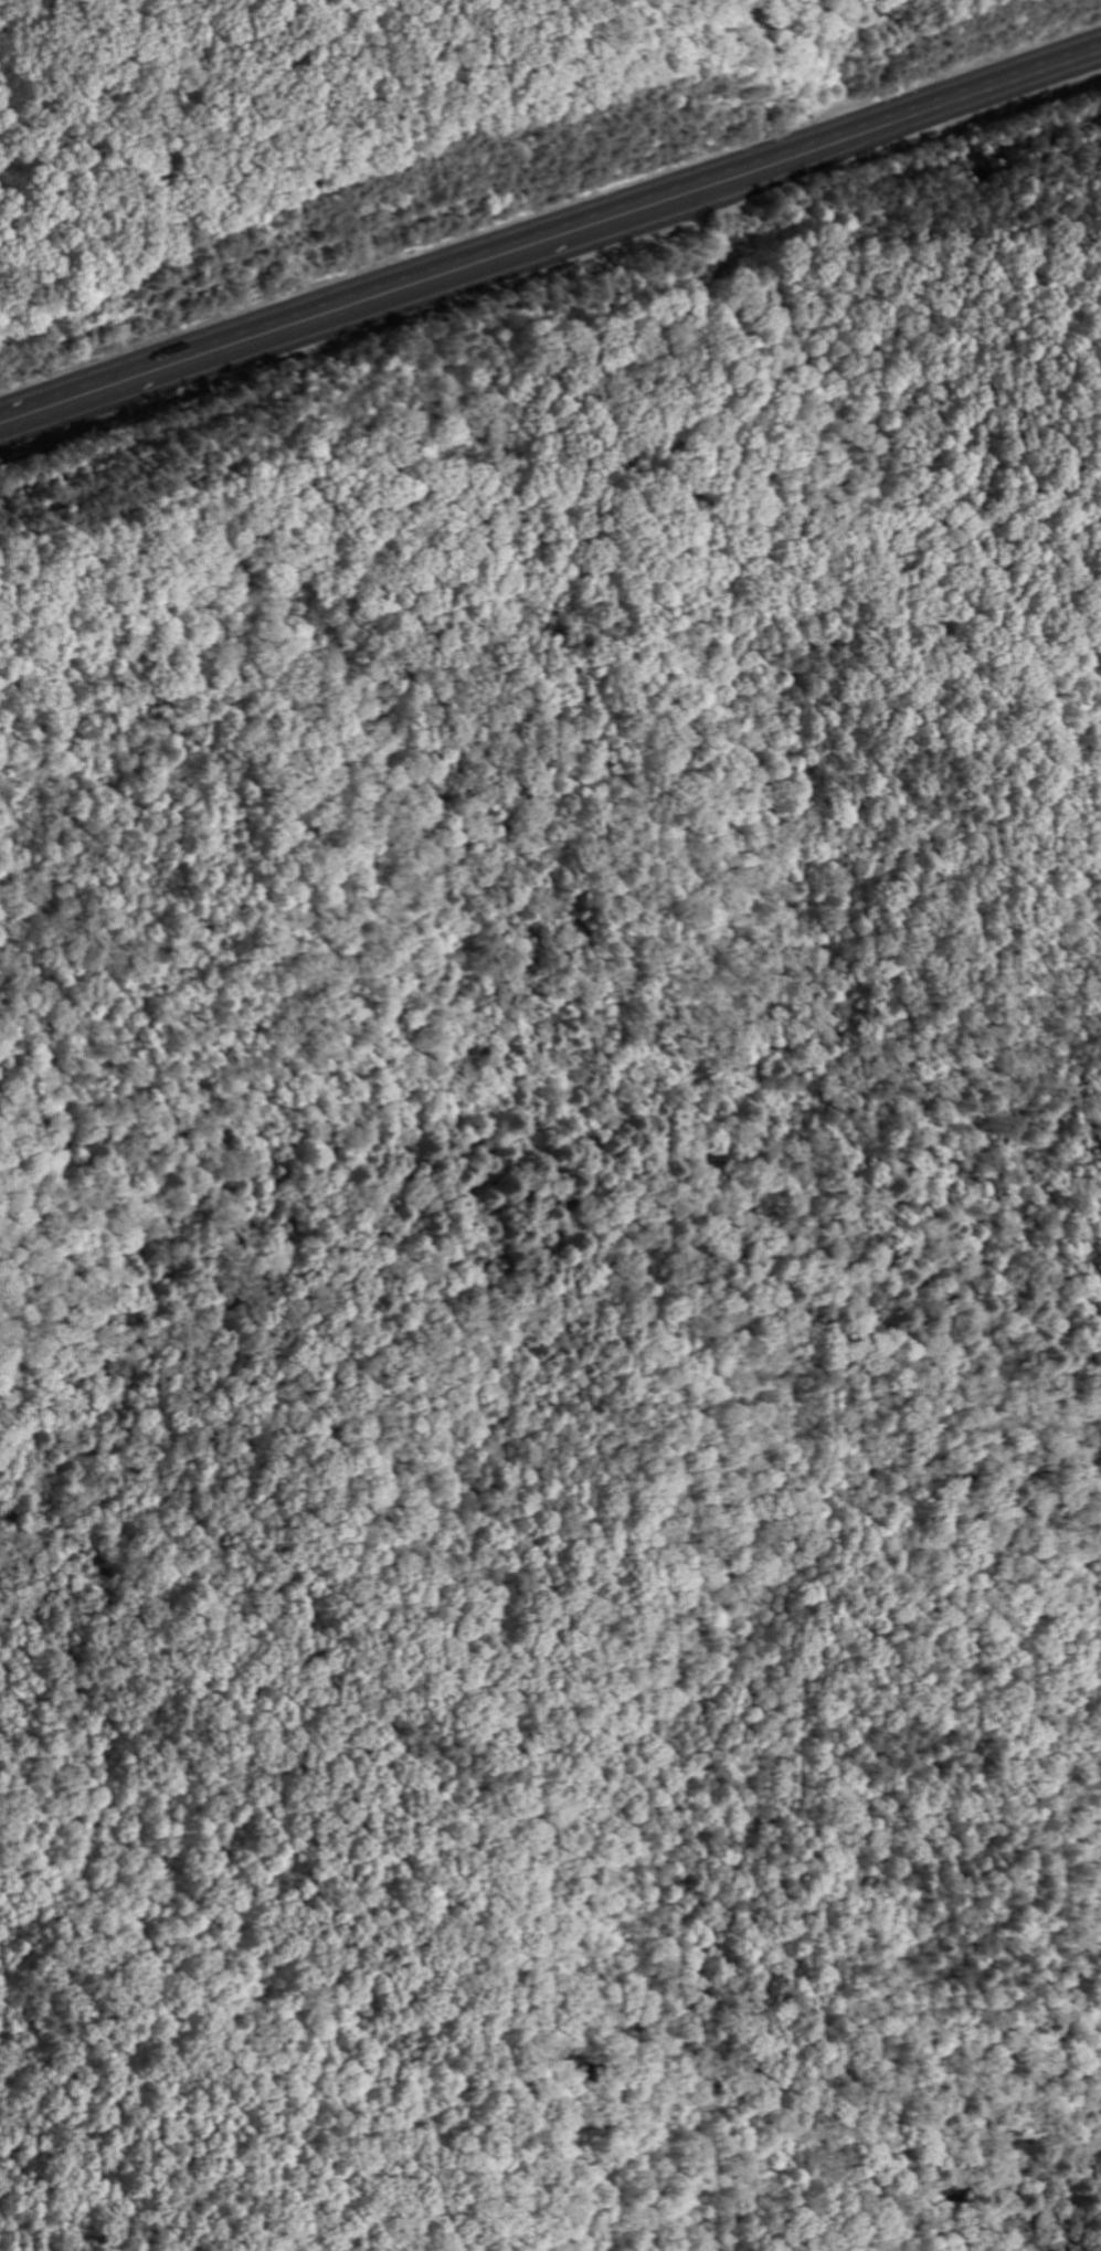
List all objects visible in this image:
road: (549, 234)

